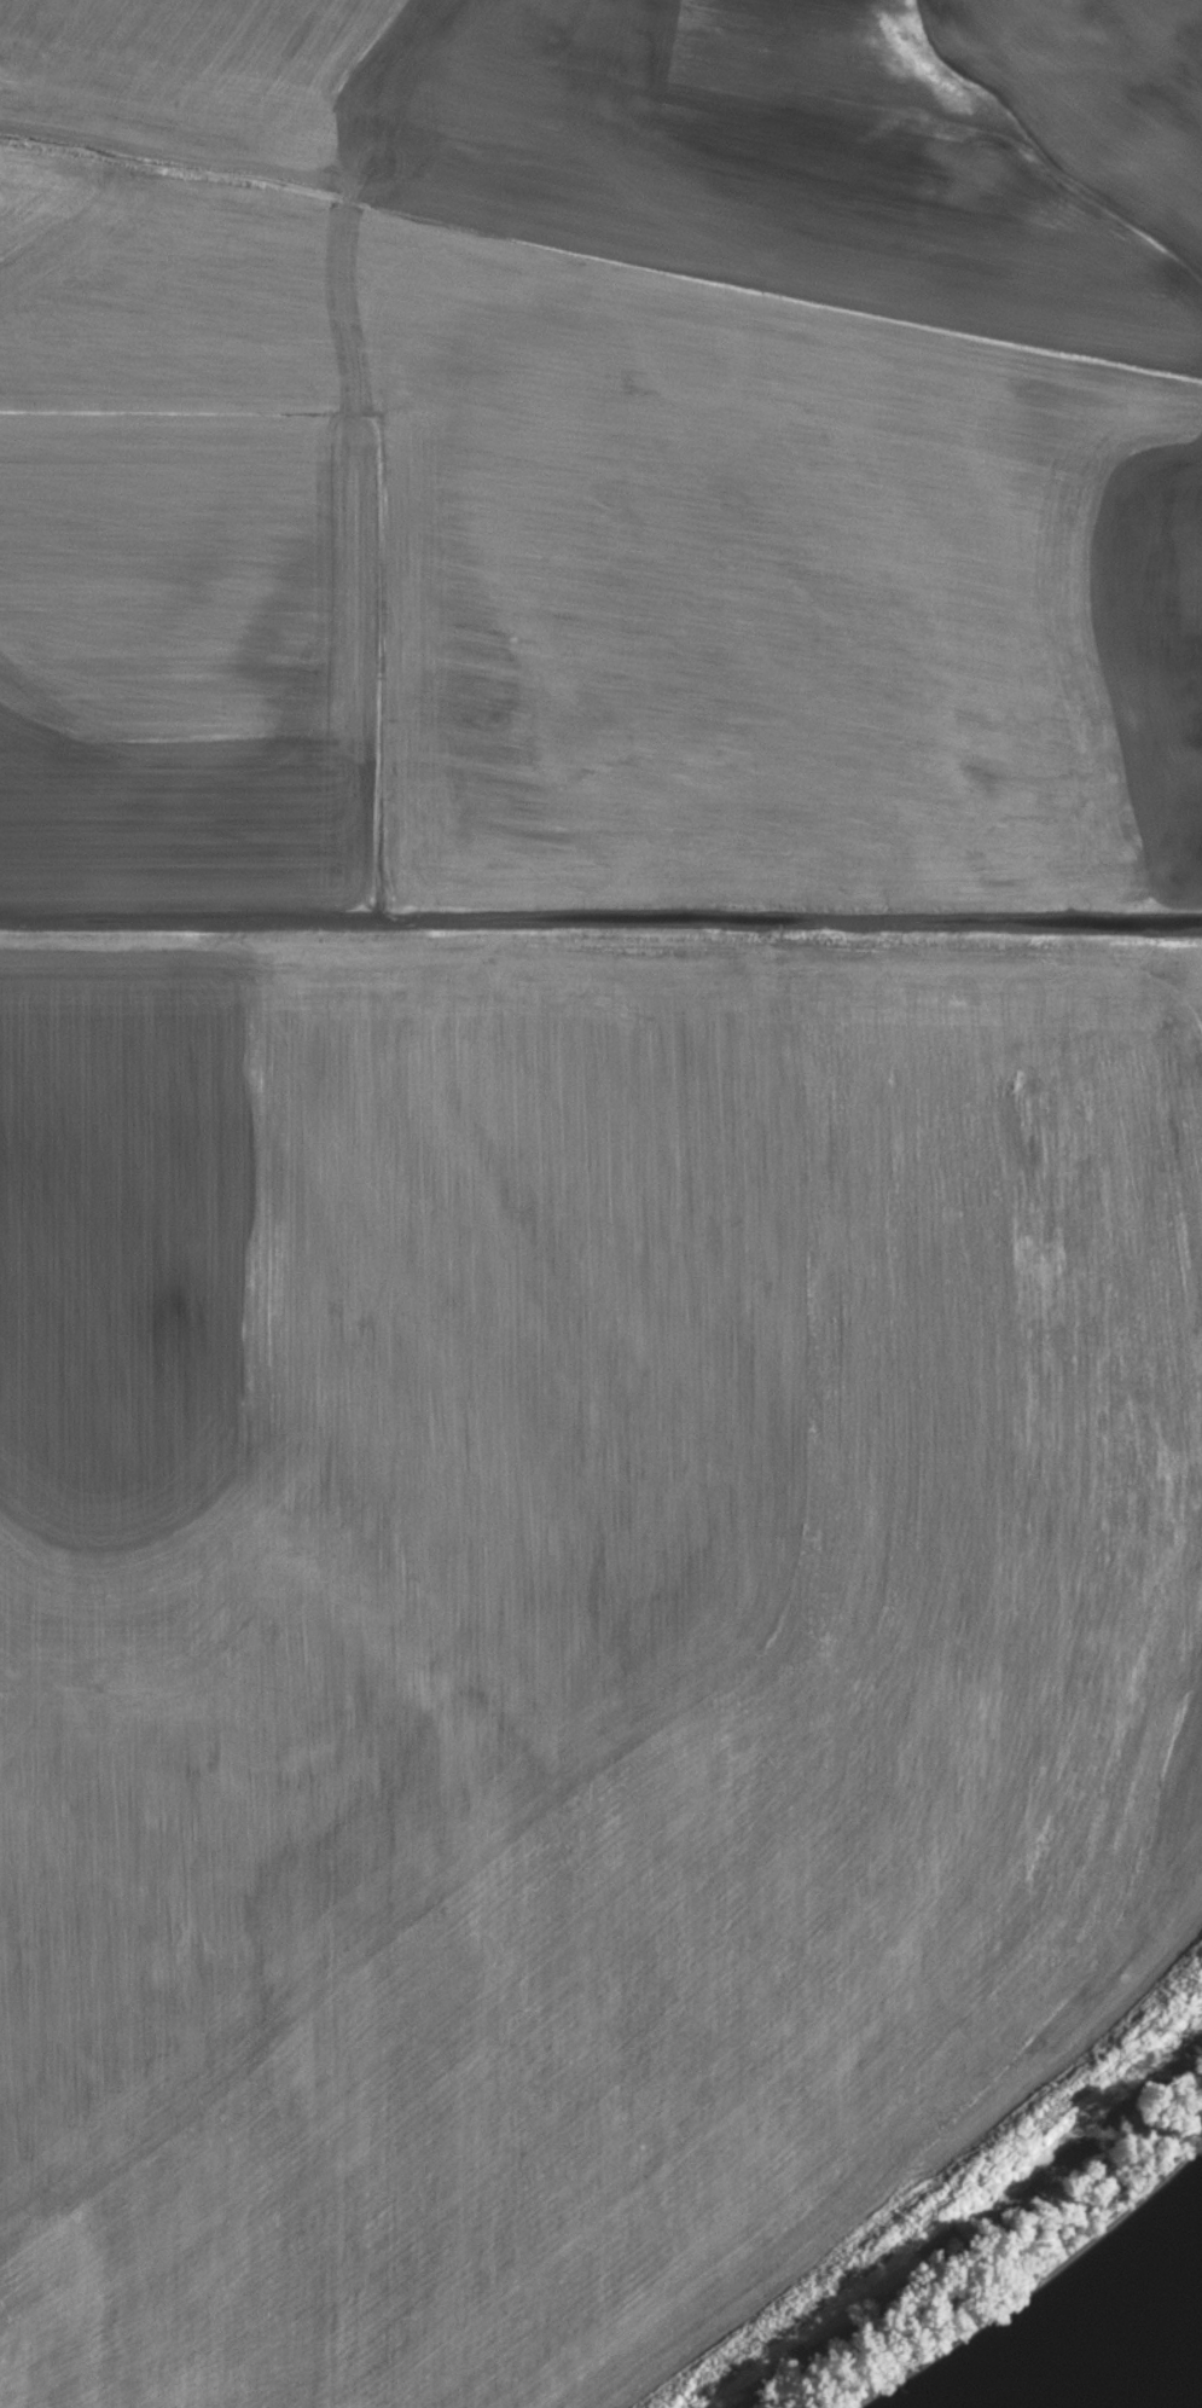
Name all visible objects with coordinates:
river: (1189, 2397)

